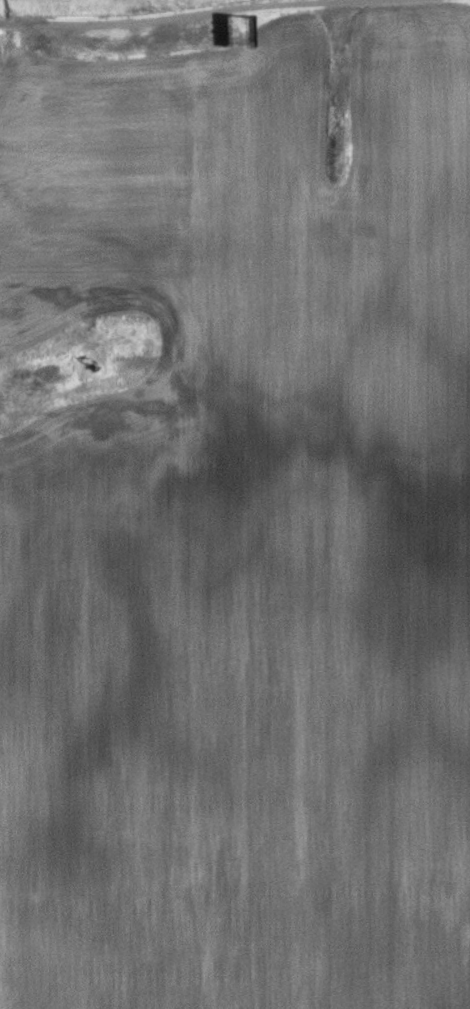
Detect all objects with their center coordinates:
road: (177, 14)

